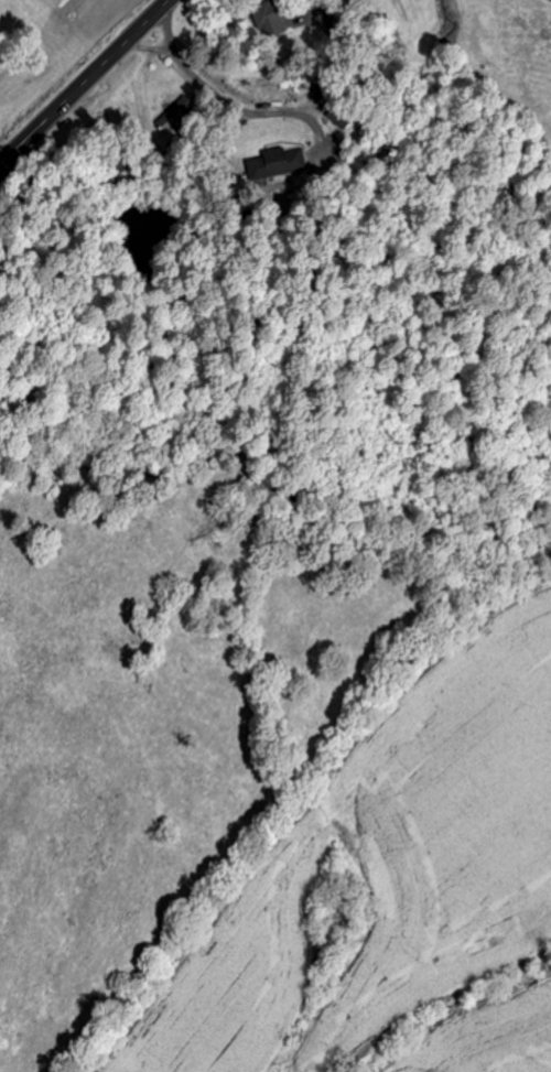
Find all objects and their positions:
building: (275, 18)
road: (85, 84)
building: (180, 112)

